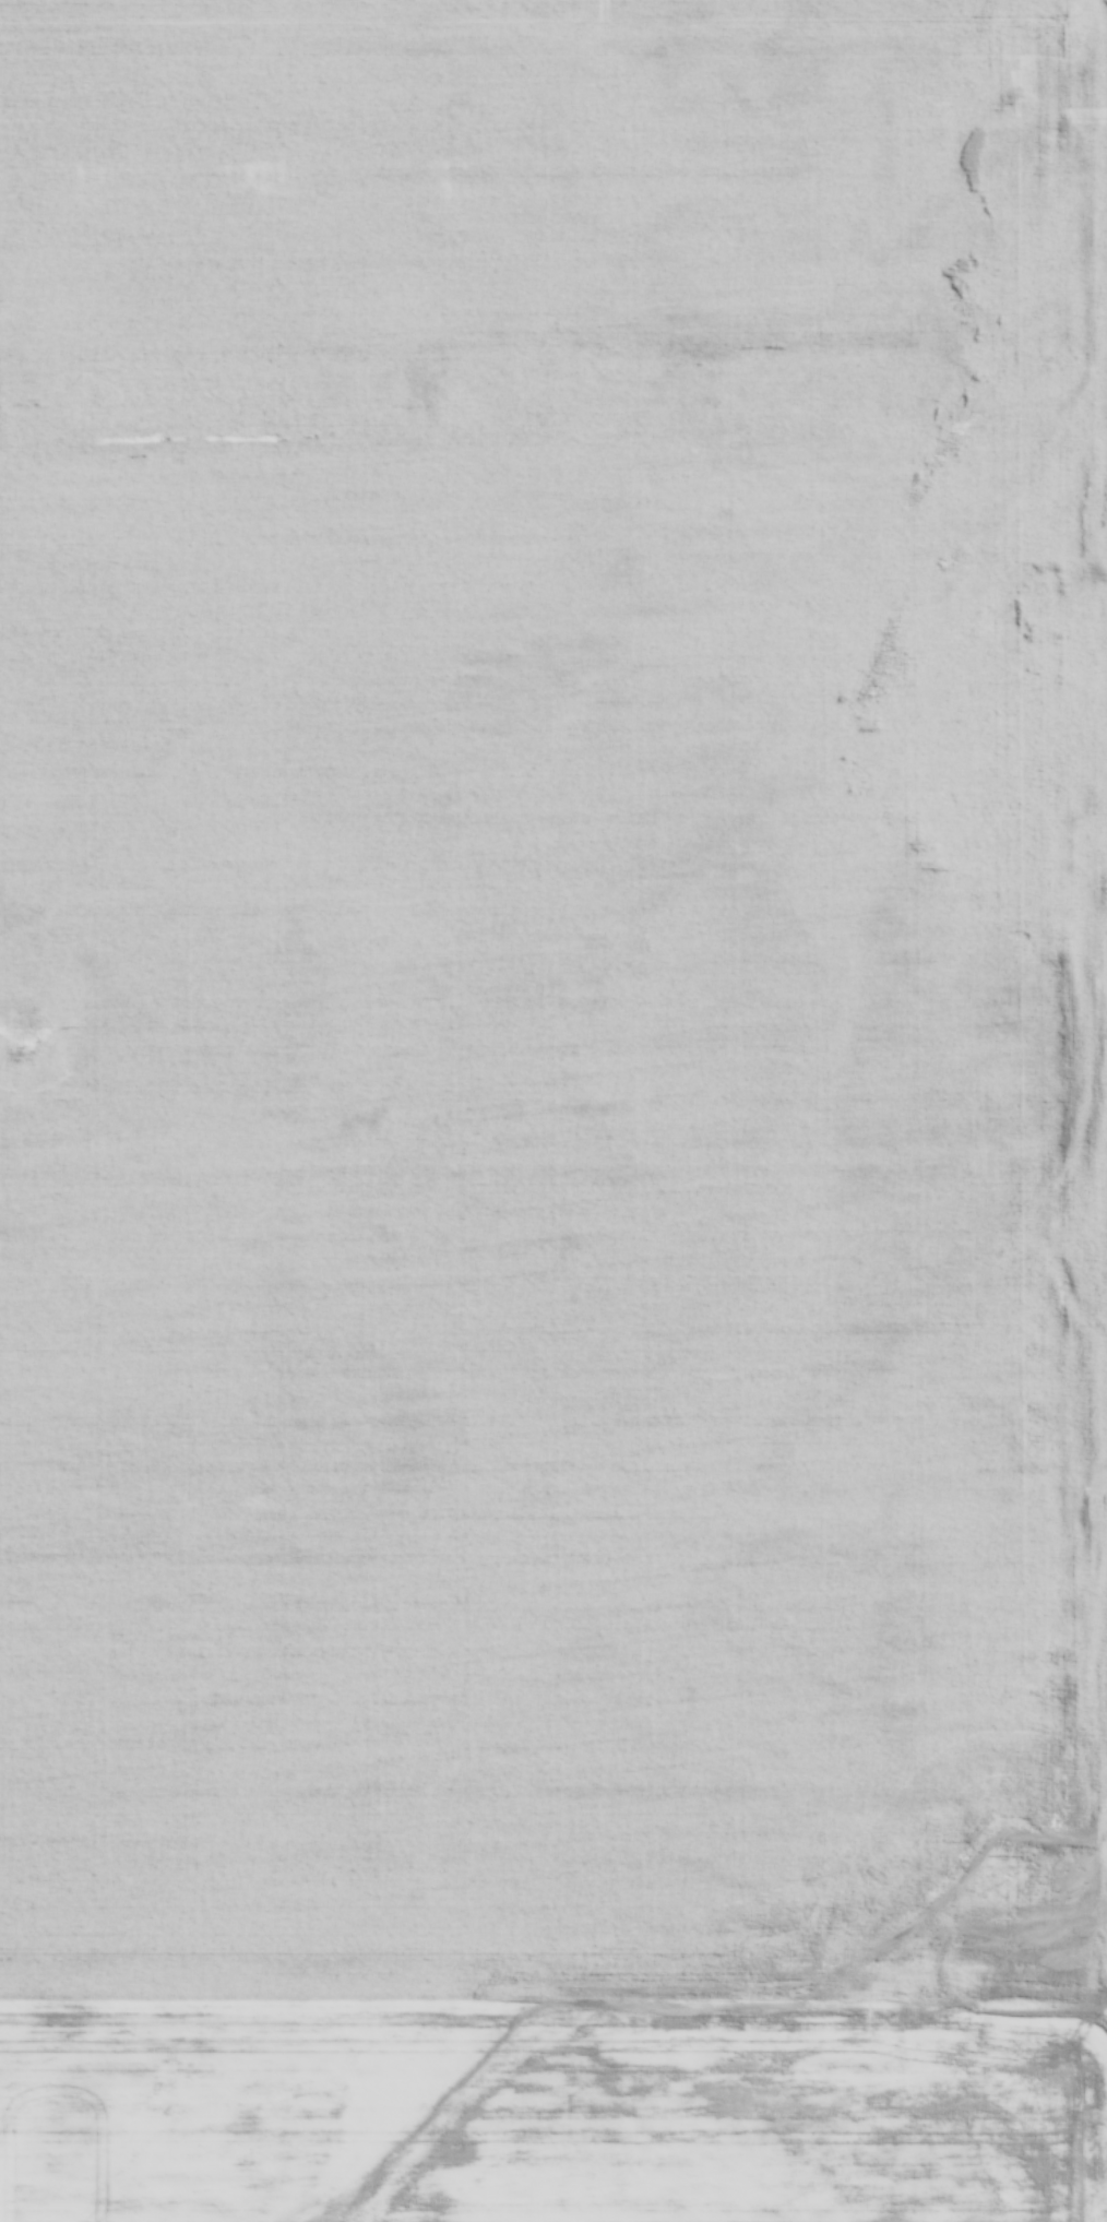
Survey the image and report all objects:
road: (553, 1997)

